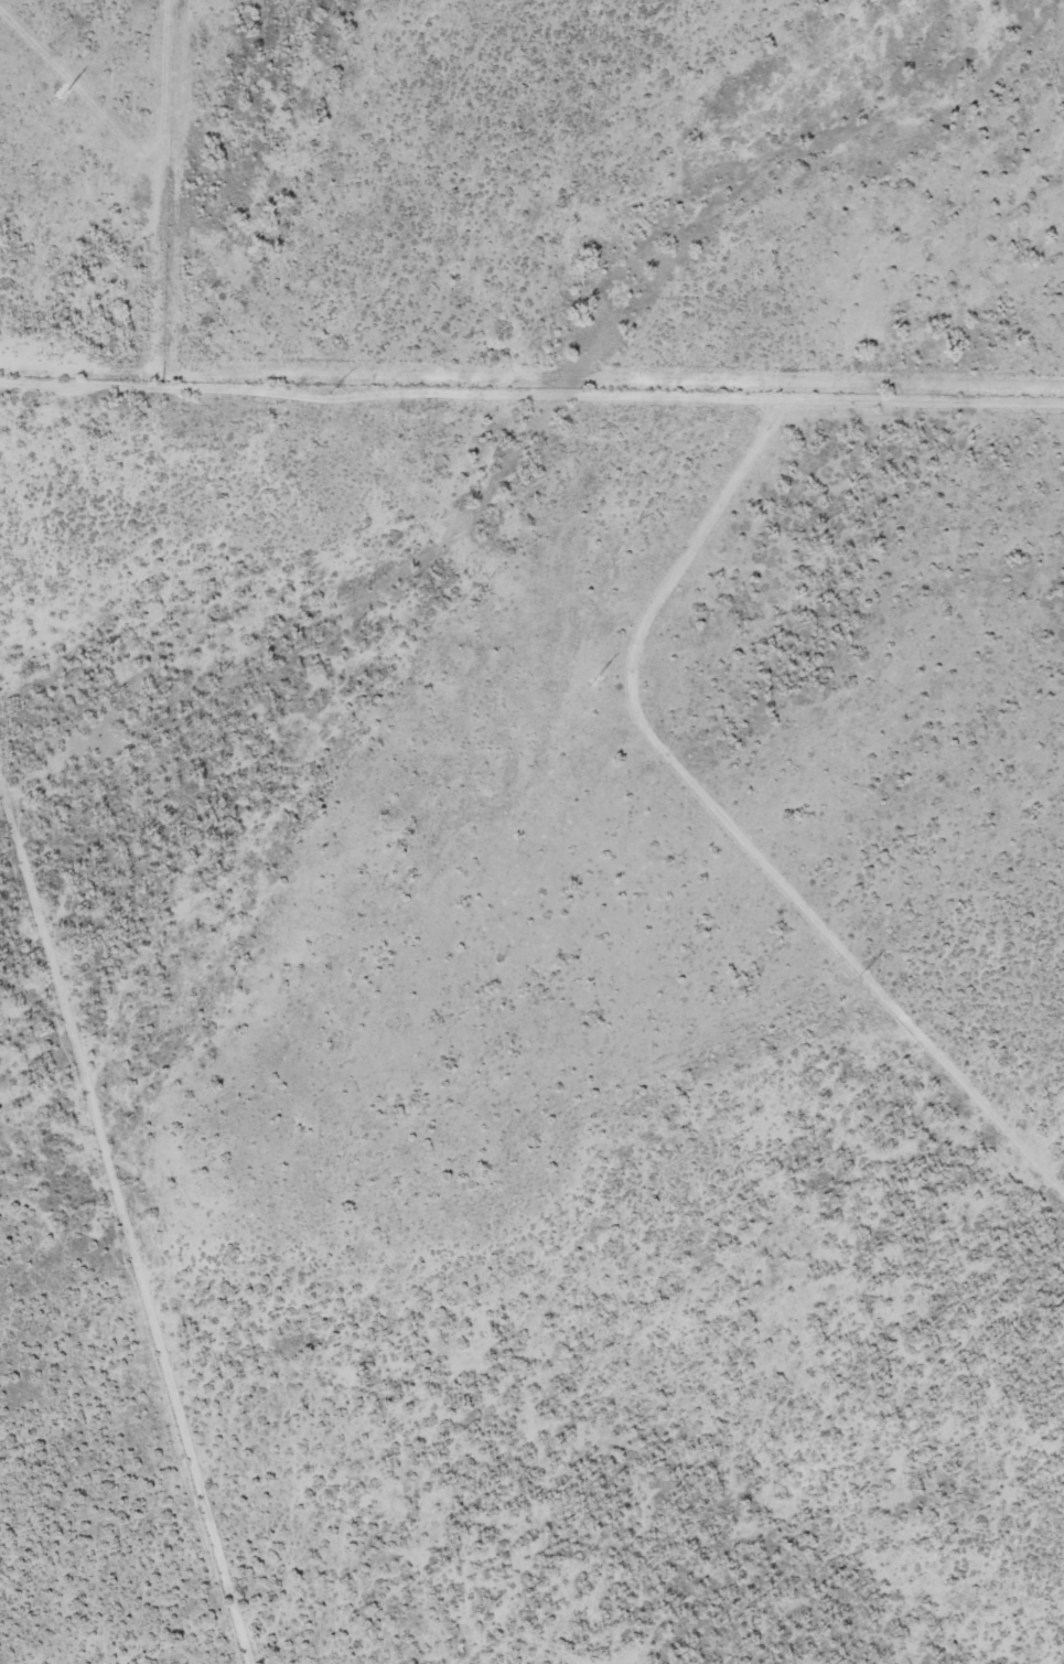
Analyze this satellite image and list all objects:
road: (84, 94)
power tower: (63, 95)
road: (168, 190)
power tower: (332, 391)
road: (531, 394)
power tower: (593, 679)
road: (730, 819)
power tower: (861, 975)
road: (125, 1212)

